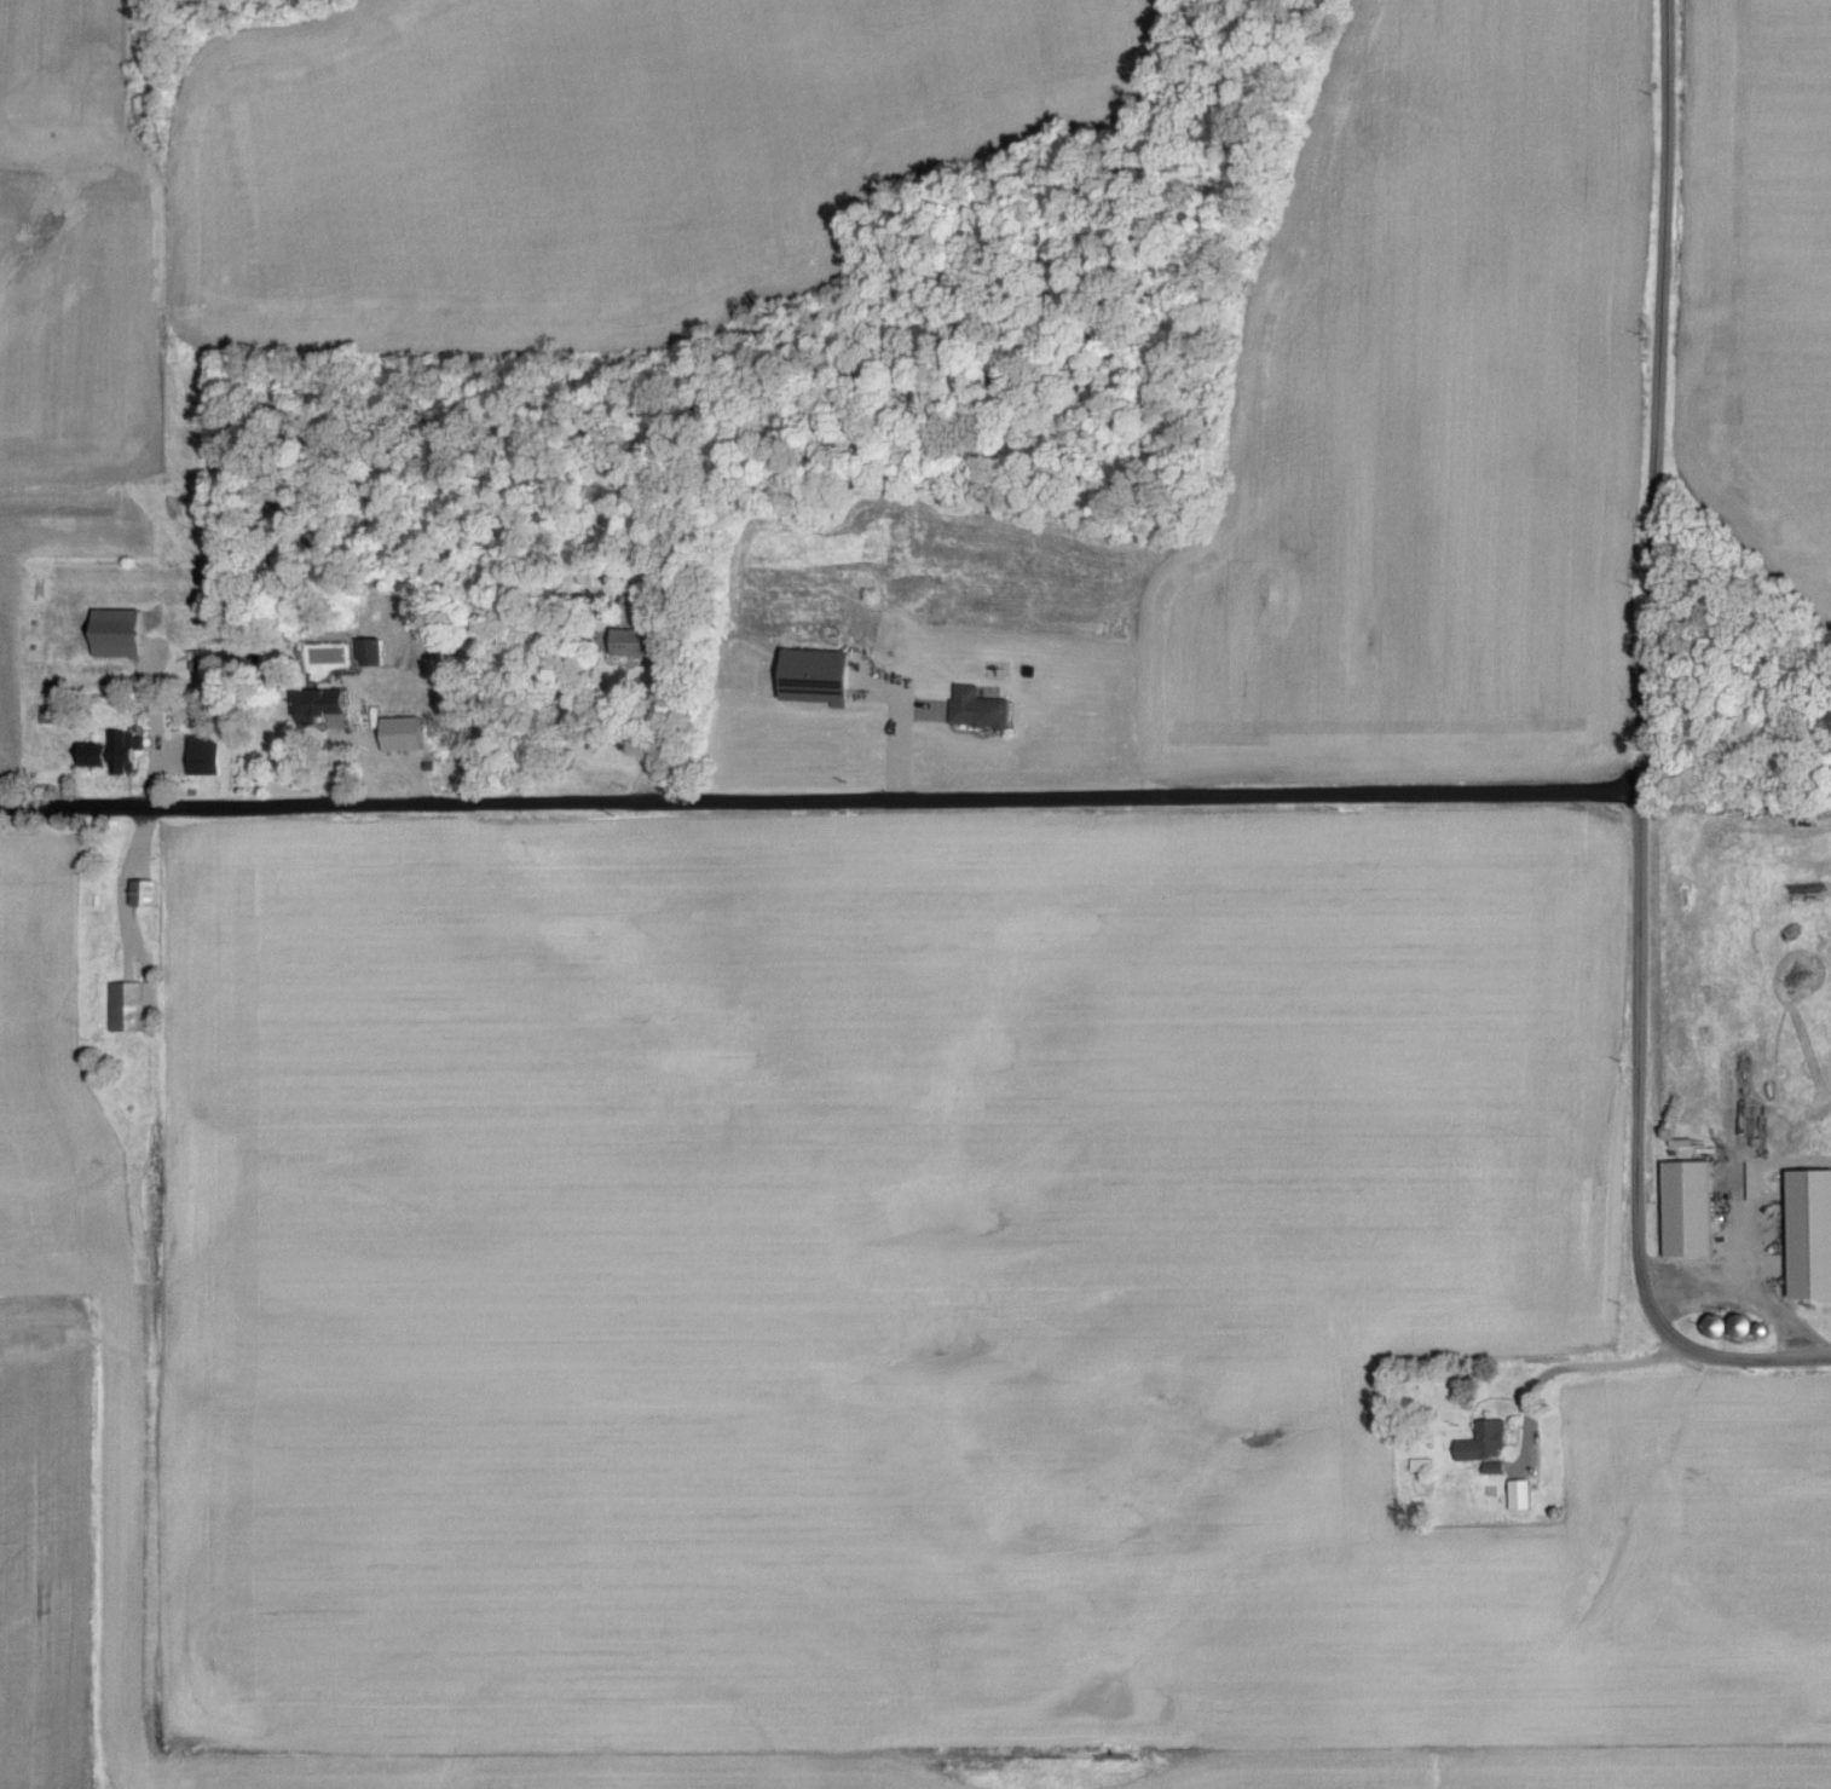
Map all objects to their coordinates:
road: (1651, 394)
building: (651, 579)
building: (122, 634)
building: (636, 644)
building: (824, 677)
building: (982, 710)
road: (640, 728)
building: (405, 735)
building: (116, 754)
building: (207, 756)
road: (818, 801)
road: (116, 889)
building: (148, 894)
building: (127, 1008)
road: (1629, 1150)
building: (1692, 1211)
road: (1738, 1231)
building: (1814, 1235)
road: (1526, 1433)
building: (1489, 1444)
building: (1523, 1497)

